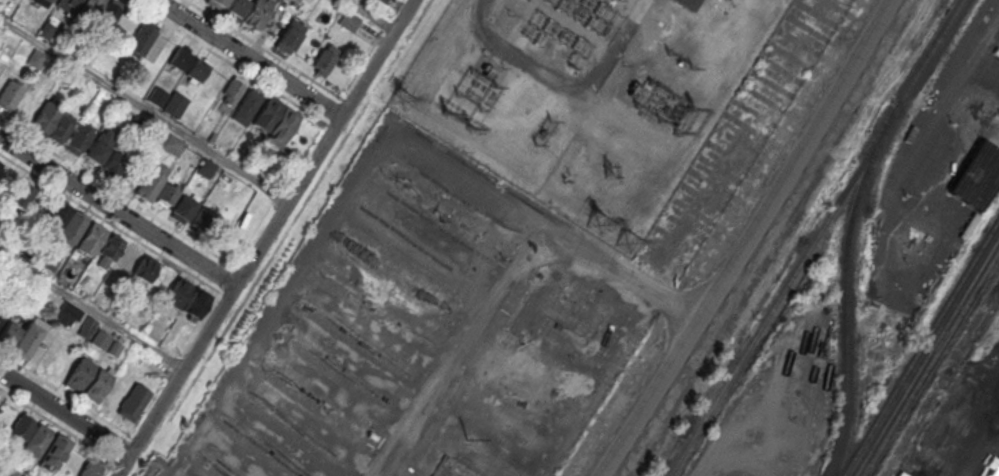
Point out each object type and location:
building: (383, 0)
building: (296, 1)
building: (42, 2)
building: (215, 3)
building: (689, 3)
building: (66, 5)
building: (236, 7)
building: (88, 10)
building: (257, 12)
building: (110, 14)
road: (371, 15)
building: (349, 20)
building: (290, 34)
building: (142, 38)
road: (520, 56)
building: (180, 58)
road: (248, 58)
building: (325, 59)
building: (197, 68)
road: (597, 81)
building: (232, 91)
building: (9, 95)
power tower: (404, 95)
building: (158, 96)
building: (175, 104)
building: (246, 106)
power substation: (617, 106)
building: (26, 108)
road: (145, 109)
building: (267, 113)
building: (45, 117)
building: (284, 123)
building: (61, 127)
building: (78, 139)
building: (172, 144)
building: (99, 145)
building: (0, 162)
building: (114, 162)
building: (1, 164)
building: (207, 167)
power tower: (608, 173)
building: (977, 175)
building: (151, 181)
building: (166, 194)
building: (20, 198)
building: (184, 207)
road: (118, 211)
building: (55, 216)
building: (203, 219)
power tower: (595, 220)
building: (73, 227)
road: (265, 237)
railway: (813, 237)
building: (91, 238)
road: (749, 239)
power tower: (627, 241)
building: (126, 260)
building: (145, 268)
railway: (843, 285)
building: (177, 293)
building: (196, 304)
road: (92, 312)
building: (68, 314)
building: (86, 327)
building: (8, 332)
building: (27, 338)
building: (100, 339)
railway: (920, 344)
railway: (925, 354)
railway: (931, 362)
building: (78, 374)
building: (96, 385)
building: (134, 402)
road: (65, 413)
power tower: (463, 439)
building: (36, 440)
building: (55, 451)

